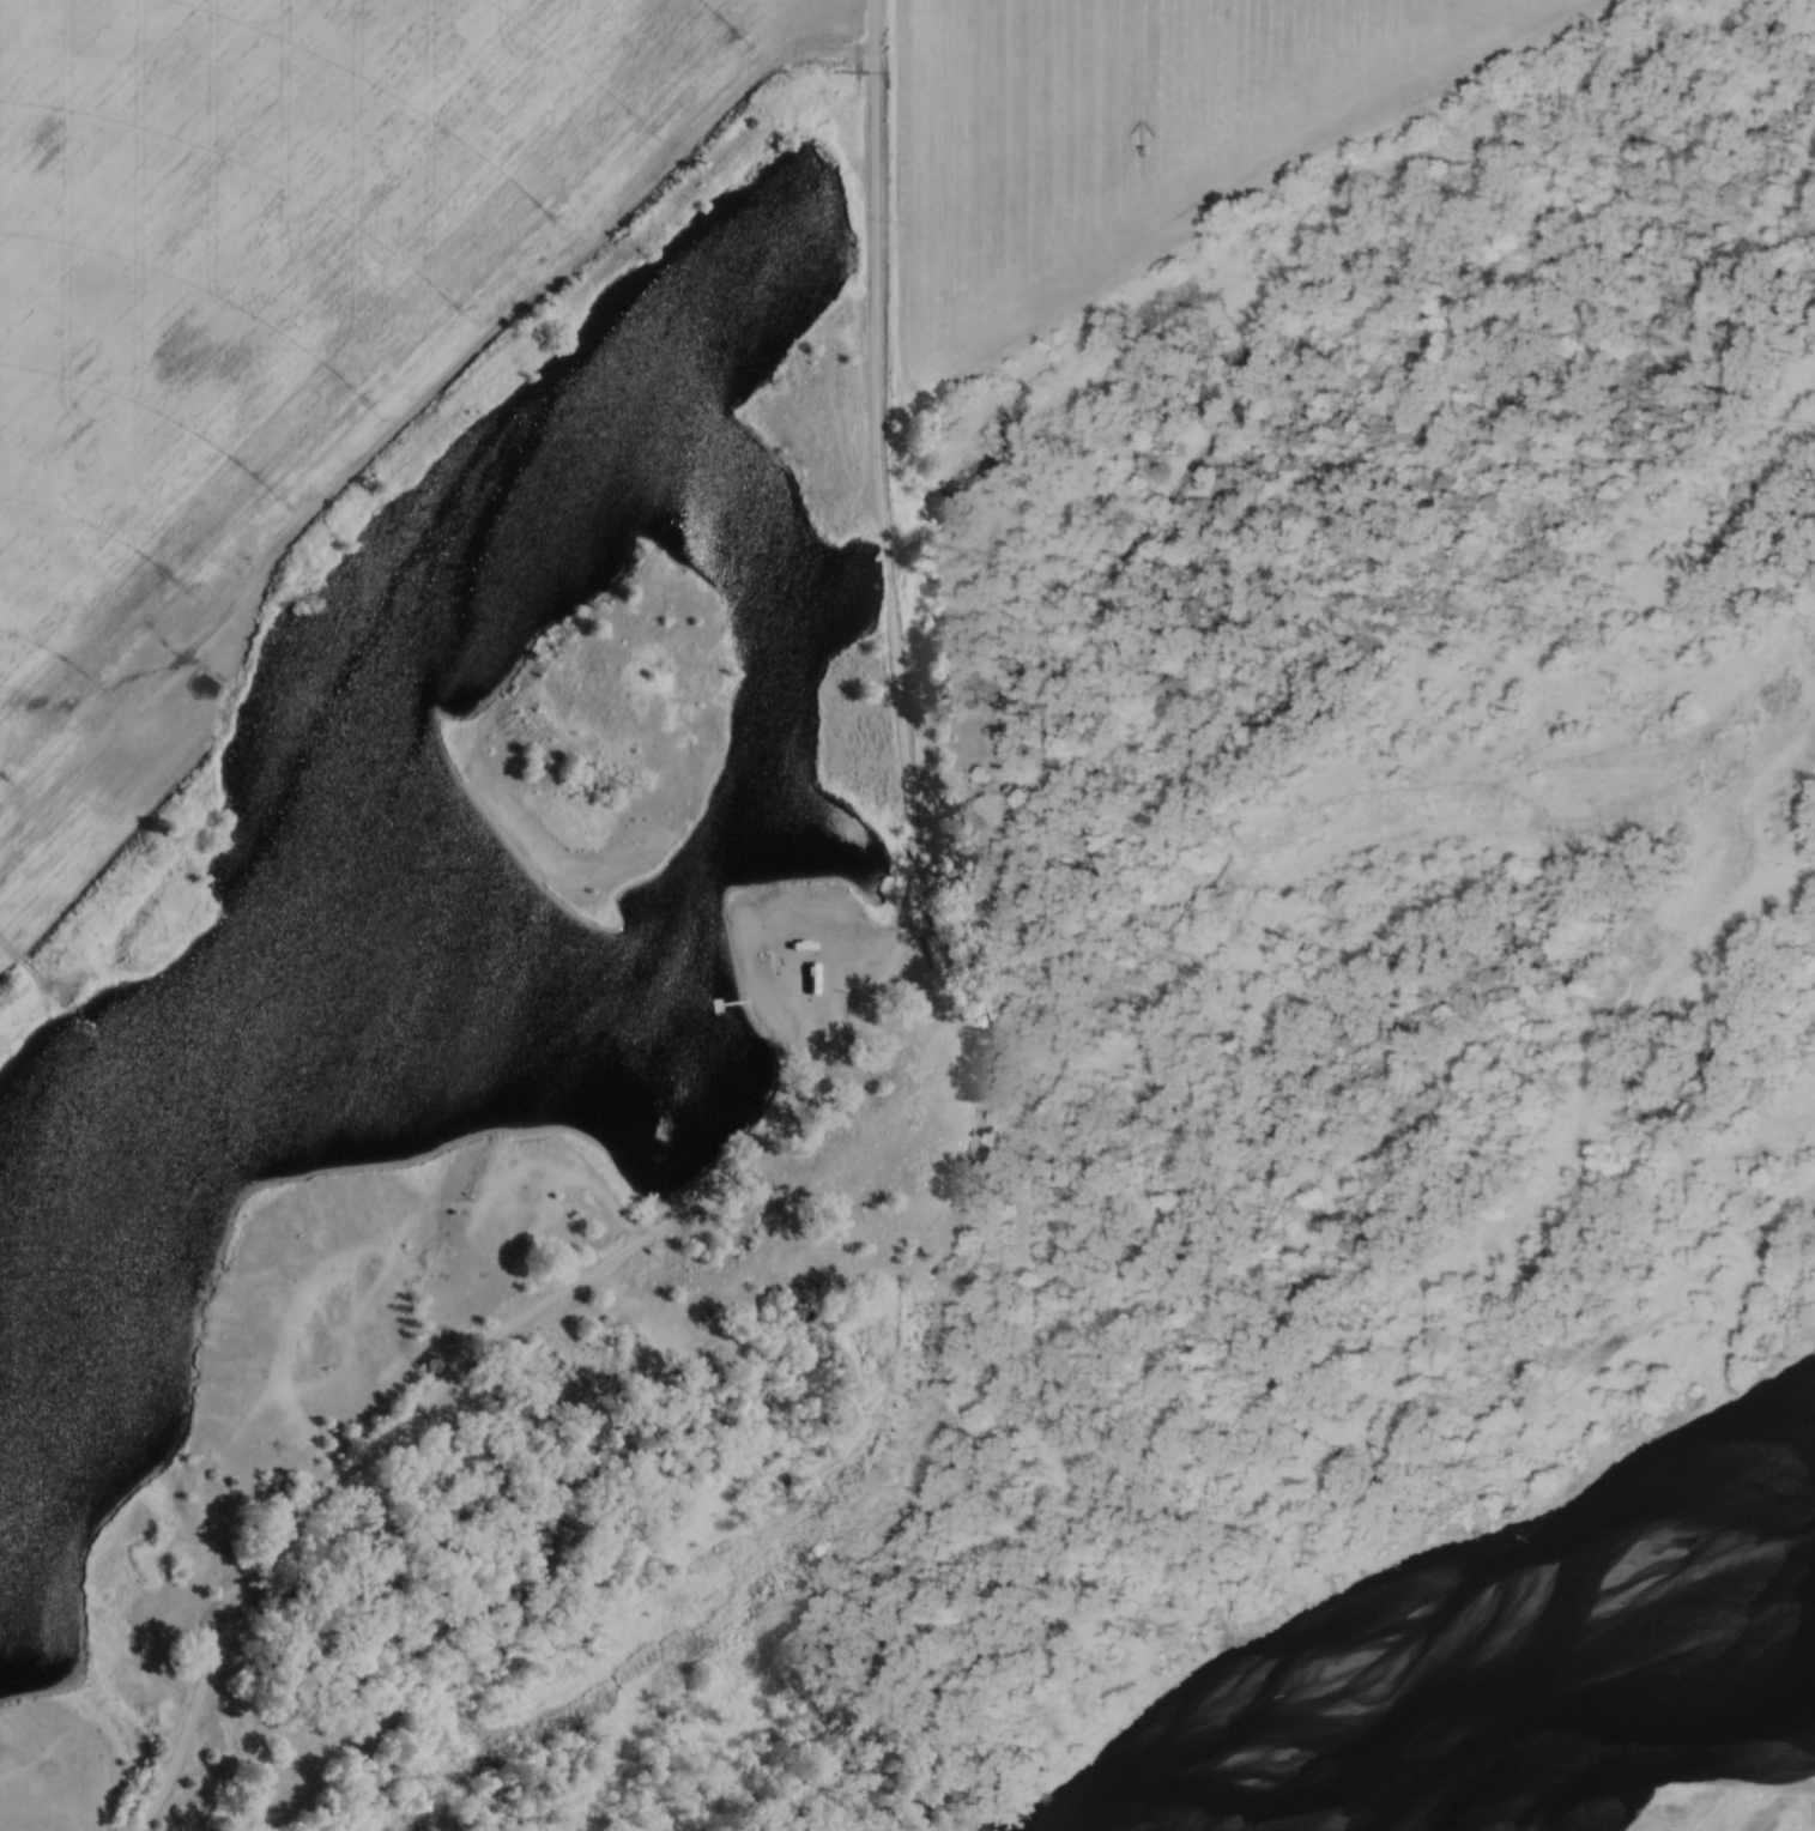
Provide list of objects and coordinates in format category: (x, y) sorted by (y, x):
road: (871, 25)
road: (873, 449)
road: (515, 1324)

